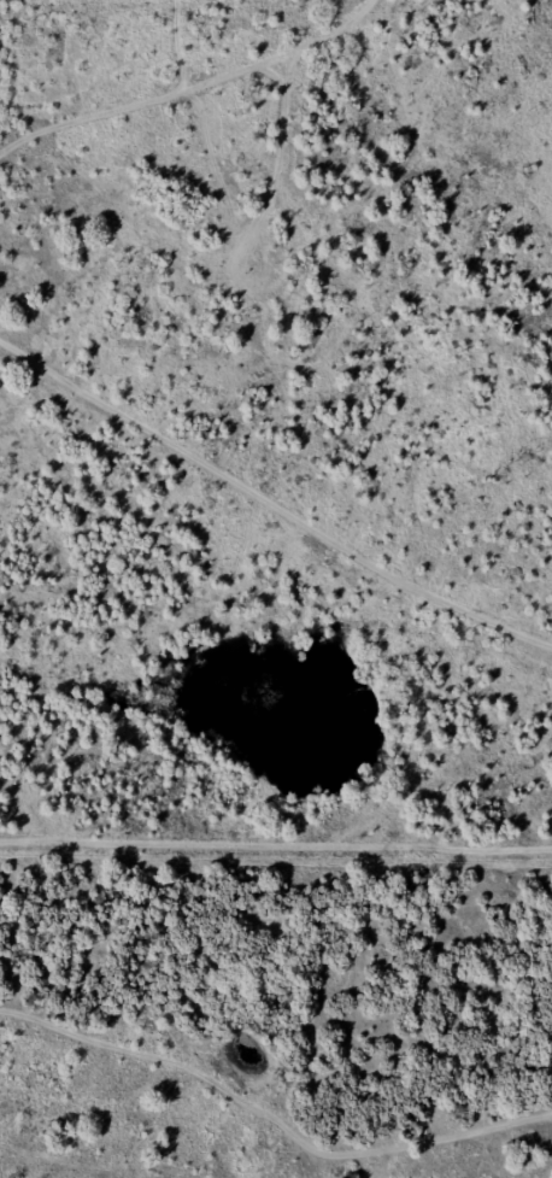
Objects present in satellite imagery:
road: (269, 475)
road: (239, 1165)

